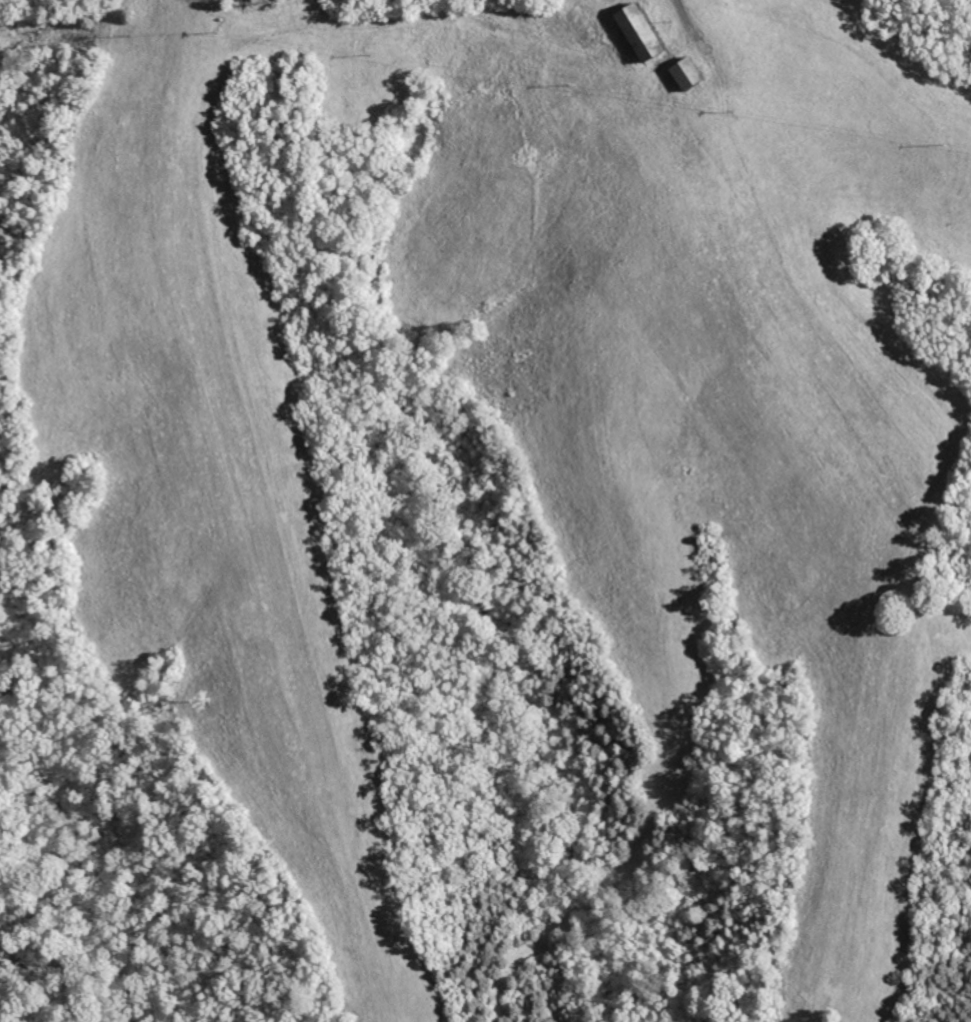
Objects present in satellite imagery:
building: (633, 30)
road: (694, 32)
building: (681, 71)

